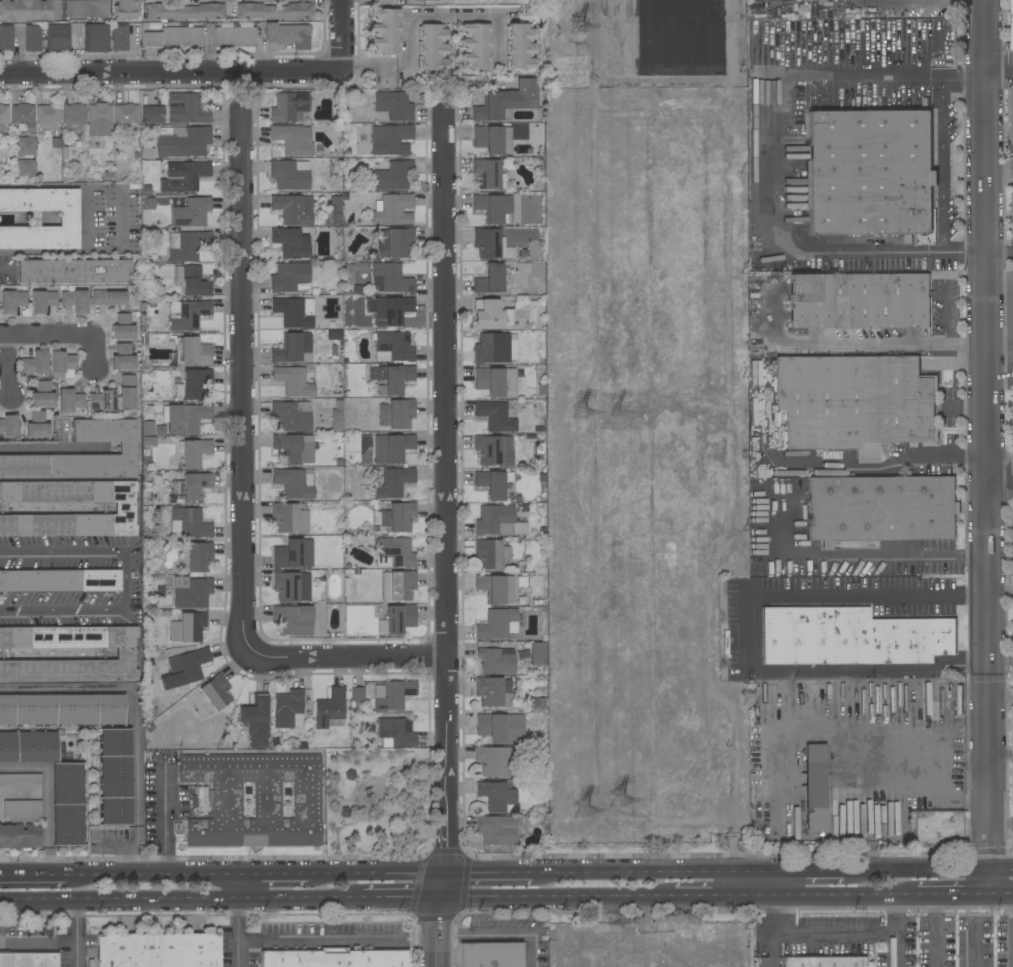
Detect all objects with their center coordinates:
building: (411, 0)
building: (87, 9)
building: (125, 9)
building: (29, 10)
building: (186, 11)
building: (274, 11)
road: (415, 12)
power tower: (583, 22)
building: (1010, 22)
building: (385, 31)
building: (234, 35)
building: (288, 35)
road: (343, 36)
building: (120, 37)
building: (174, 37)
building: (6, 38)
building: (32, 38)
building: (56, 38)
building: (95, 38)
road: (498, 41)
building: (475, 46)
building: (431, 47)
building: (519, 47)
road: (999, 69)
road: (171, 72)
building: (506, 102)
building: (394, 105)
building: (289, 107)
building: (186, 109)
building: (152, 114)
building: (4, 116)
building: (46, 116)
building: (73, 116)
building: (124, 116)
building: (22, 117)
building: (100, 120)
building: (1011, 122)
building: (293, 139)
building: (391, 139)
building: (492, 139)
building: (183, 142)
building: (26, 144)
building: (55, 144)
road: (775, 160)
road: (943, 163)
building: (25, 168)
building: (870, 172)
building: (489, 174)
building: (187, 175)
building: (290, 175)
building: (393, 175)
building: (493, 207)
building: (291, 209)
building: (393, 209)
building: (332, 211)
building: (191, 212)
building: (1011, 214)
building: (68, 218)
road: (86, 218)
road: (121, 218)
building: (394, 242)
building: (291, 243)
building: (489, 243)
building: (187, 245)
road: (999, 253)
building: (74, 271)
building: (289, 276)
building: (390, 278)
building: (490, 279)
building: (192, 280)
building: (358, 289)
building: (21, 298)
building: (107, 298)
building: (42, 300)
building: (859, 301)
building: (8, 302)
building: (74, 302)
building: (292, 311)
building: (392, 311)
building: (187, 314)
building: (497, 316)
building: (127, 317)
building: (122, 332)
road: (59, 333)
building: (334, 335)
road: (878, 343)
building: (392, 346)
building: (293, 348)
building: (492, 348)
building: (192, 352)
building: (123, 356)
building: (35, 363)
building: (62, 363)
road: (11, 364)
building: (392, 378)
building: (293, 381)
building: (496, 381)
building: (195, 383)
road: (245, 384)
building: (42, 394)
building: (126, 398)
building: (69, 400)
building: (103, 400)
building: (854, 402)
building: (1012, 409)
power tower: (584, 410)
power tower: (626, 411)
building: (393, 414)
building: (291, 415)
building: (495, 416)
building: (185, 418)
building: (336, 422)
building: (8, 425)
building: (37, 426)
building: (127, 448)
building: (294, 448)
building: (394, 448)
road: (986, 448)
road: (50, 450)
building: (494, 450)
building: (194, 453)
road: (845, 467)
road: (1000, 474)
building: (295, 482)
building: (393, 483)
building: (493, 483)
building: (195, 487)
building: (175, 499)
building: (124, 508)
building: (882, 508)
building: (396, 517)
building: (289, 518)
building: (495, 520)
building: (188, 522)
road: (447, 539)
building: (394, 553)
building: (293, 554)
building: (492, 554)
road: (861, 555)
building: (196, 557)
building: (59, 580)
road: (122, 582)
building: (398, 585)
building: (291, 586)
building: (496, 588)
building: (191, 592)
road: (1000, 592)
building: (399, 618)
building: (293, 620)
building: (499, 624)
building: (187, 627)
road: (755, 633)
building: (851, 637)
building: (538, 653)
building: (125, 654)
road: (347, 656)
building: (496, 660)
building: (185, 669)
building: (493, 691)
building: (216, 692)
building: (357, 694)
building: (393, 694)
road: (133, 697)
road: (1000, 697)
building: (537, 702)
building: (62, 709)
building: (288, 709)
building: (330, 709)
building: (256, 720)
building: (1012, 726)
building: (492, 727)
building: (396, 732)
building: (28, 747)
road: (1001, 754)
building: (494, 760)
road: (927, 774)
building: (115, 776)
building: (20, 780)
building: (1011, 782)
building: (815, 788)
building: (496, 795)
road: (46, 798)
building: (255, 799)
power tower: (624, 799)
building: (68, 804)
power tower: (587, 809)
building: (20, 810)
road: (164, 819)
road: (1001, 824)
building: (500, 829)
building: (938, 829)
building: (19, 835)
road: (135, 855)
road: (931, 869)
road: (827, 870)
road: (668, 872)
road: (489, 873)
road: (378, 874)
traffic signals: (446, 874)
road: (33, 875)
road: (155, 875)
road: (277, 875)
road: (865, 896)
road: (696, 898)
road: (558, 899)
road: (403, 900)
traffic signals: (443, 900)
road: (182, 901)
road: (898, 916)
road: (932, 931)
road: (75, 934)
road: (237, 934)
road: (499, 934)
road: (832, 936)
road: (339, 943)
building: (157, 950)
building: (490, 955)
building: (333, 958)
building: (28, 960)
building: (824, 962)

